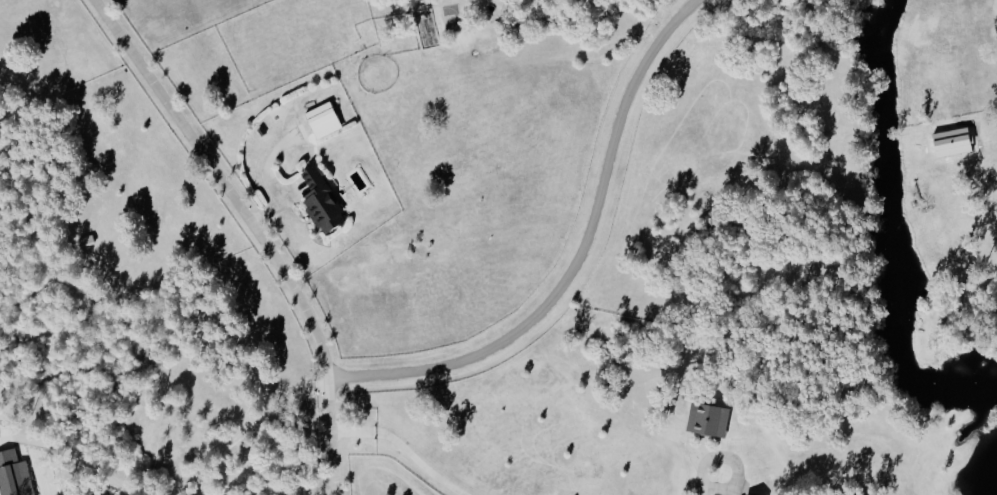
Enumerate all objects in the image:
building: (323, 118)
building: (321, 200)
road: (257, 230)
building: (86, 238)
road: (577, 262)
building: (708, 418)
road: (248, 426)
road: (404, 446)
road: (74, 456)
building: (14, 474)
building: (749, 494)

